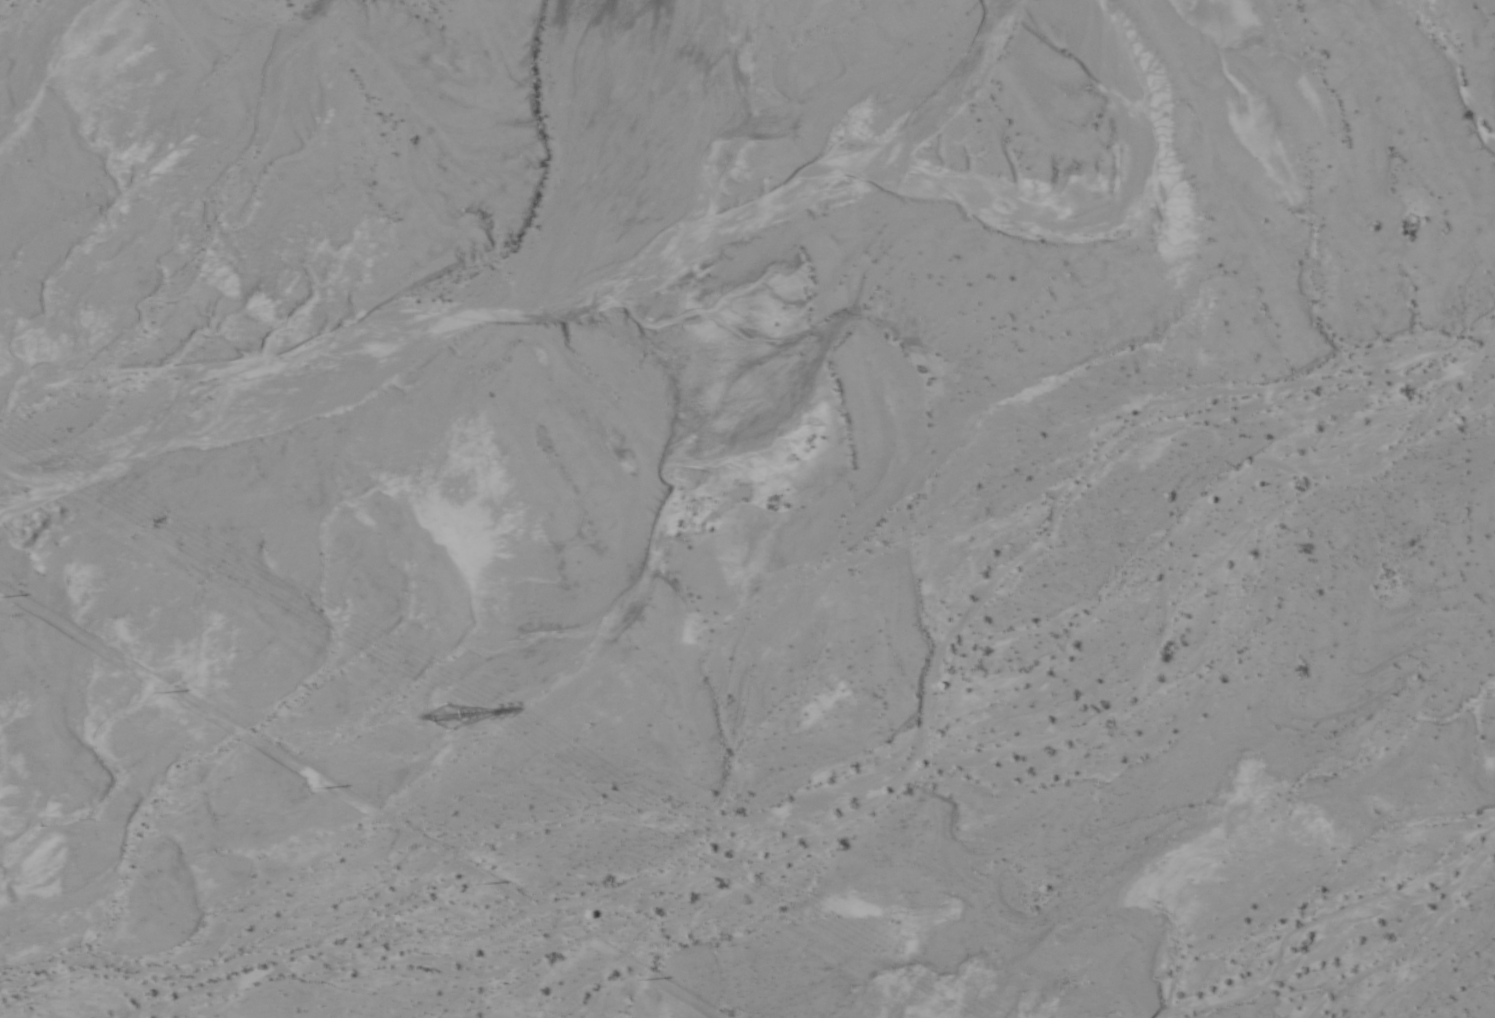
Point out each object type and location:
power tower: (460, 722)

